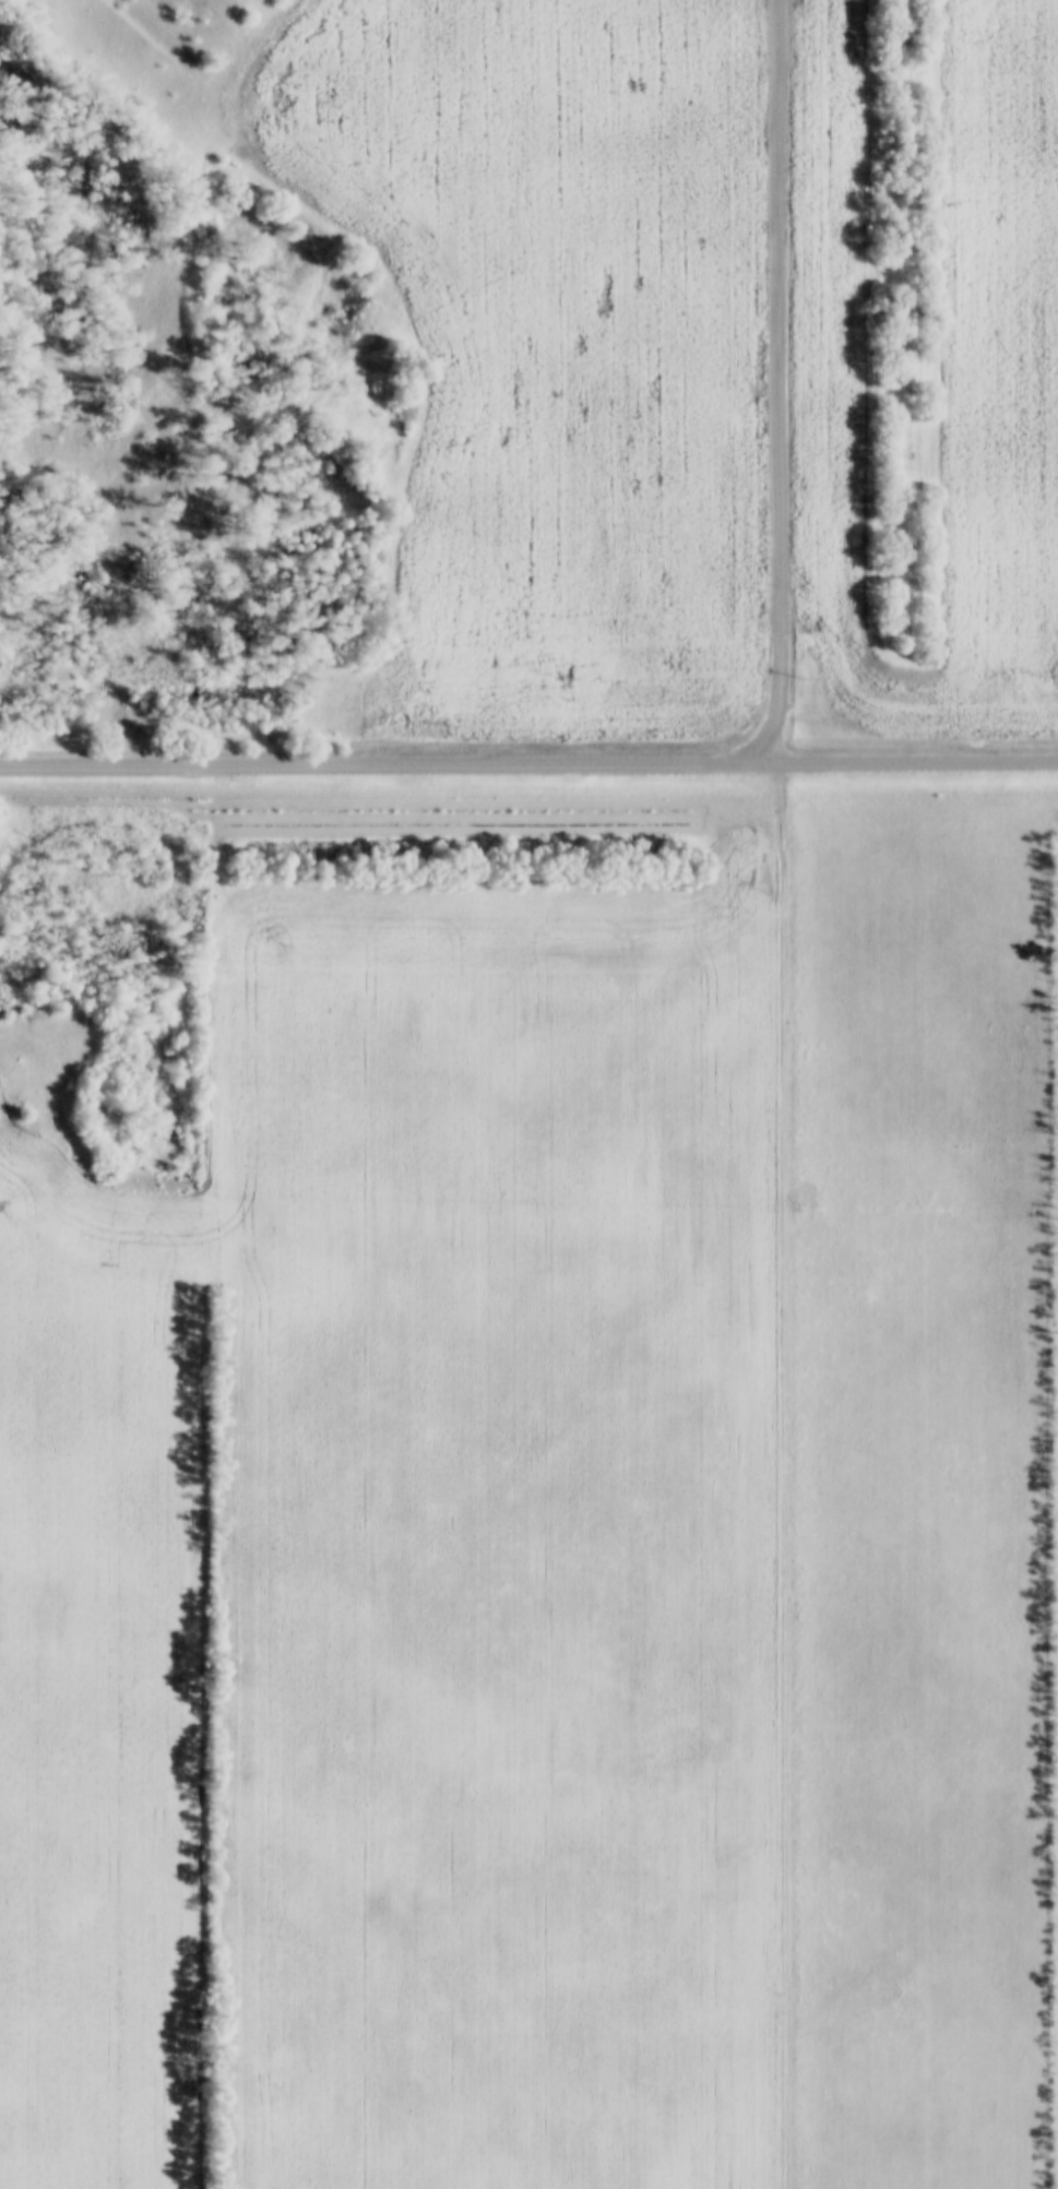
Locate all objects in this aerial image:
road: (528, 765)
road: (776, 1094)

